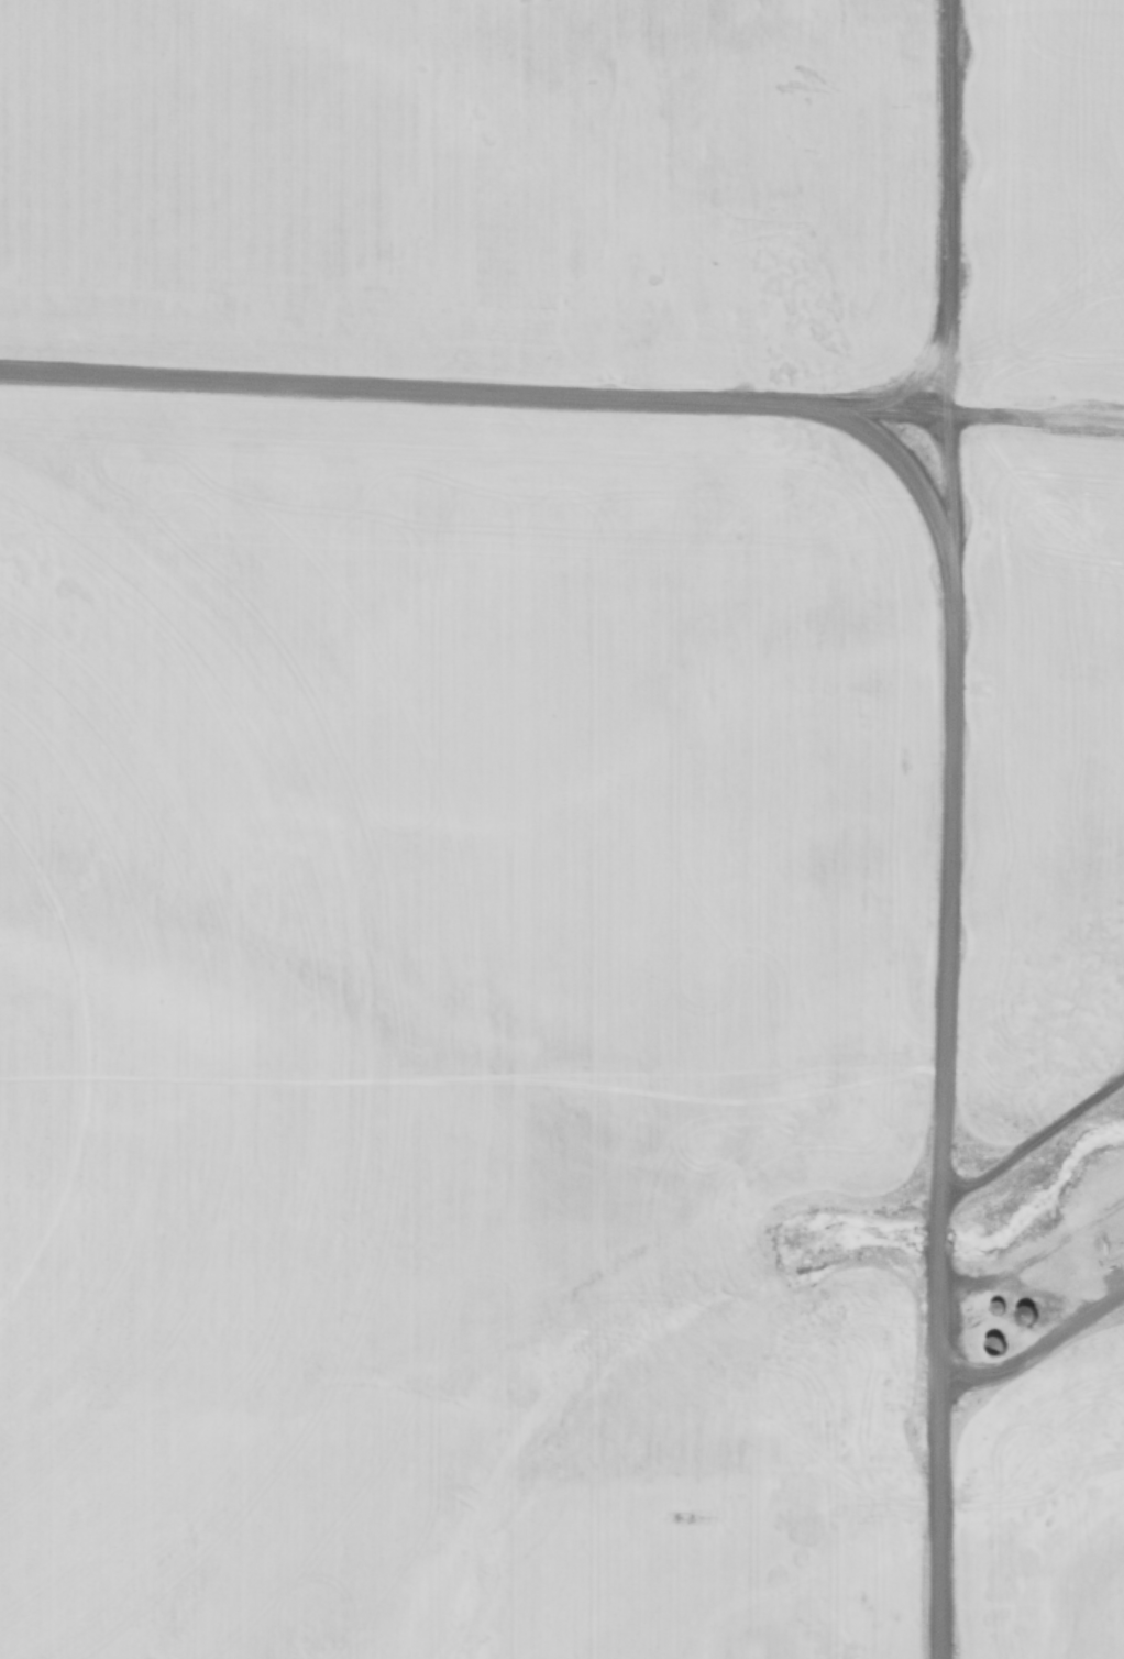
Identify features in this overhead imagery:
road: (943, 234)
road: (948, 593)
road: (1032, 1125)
road: (1034, 1334)

